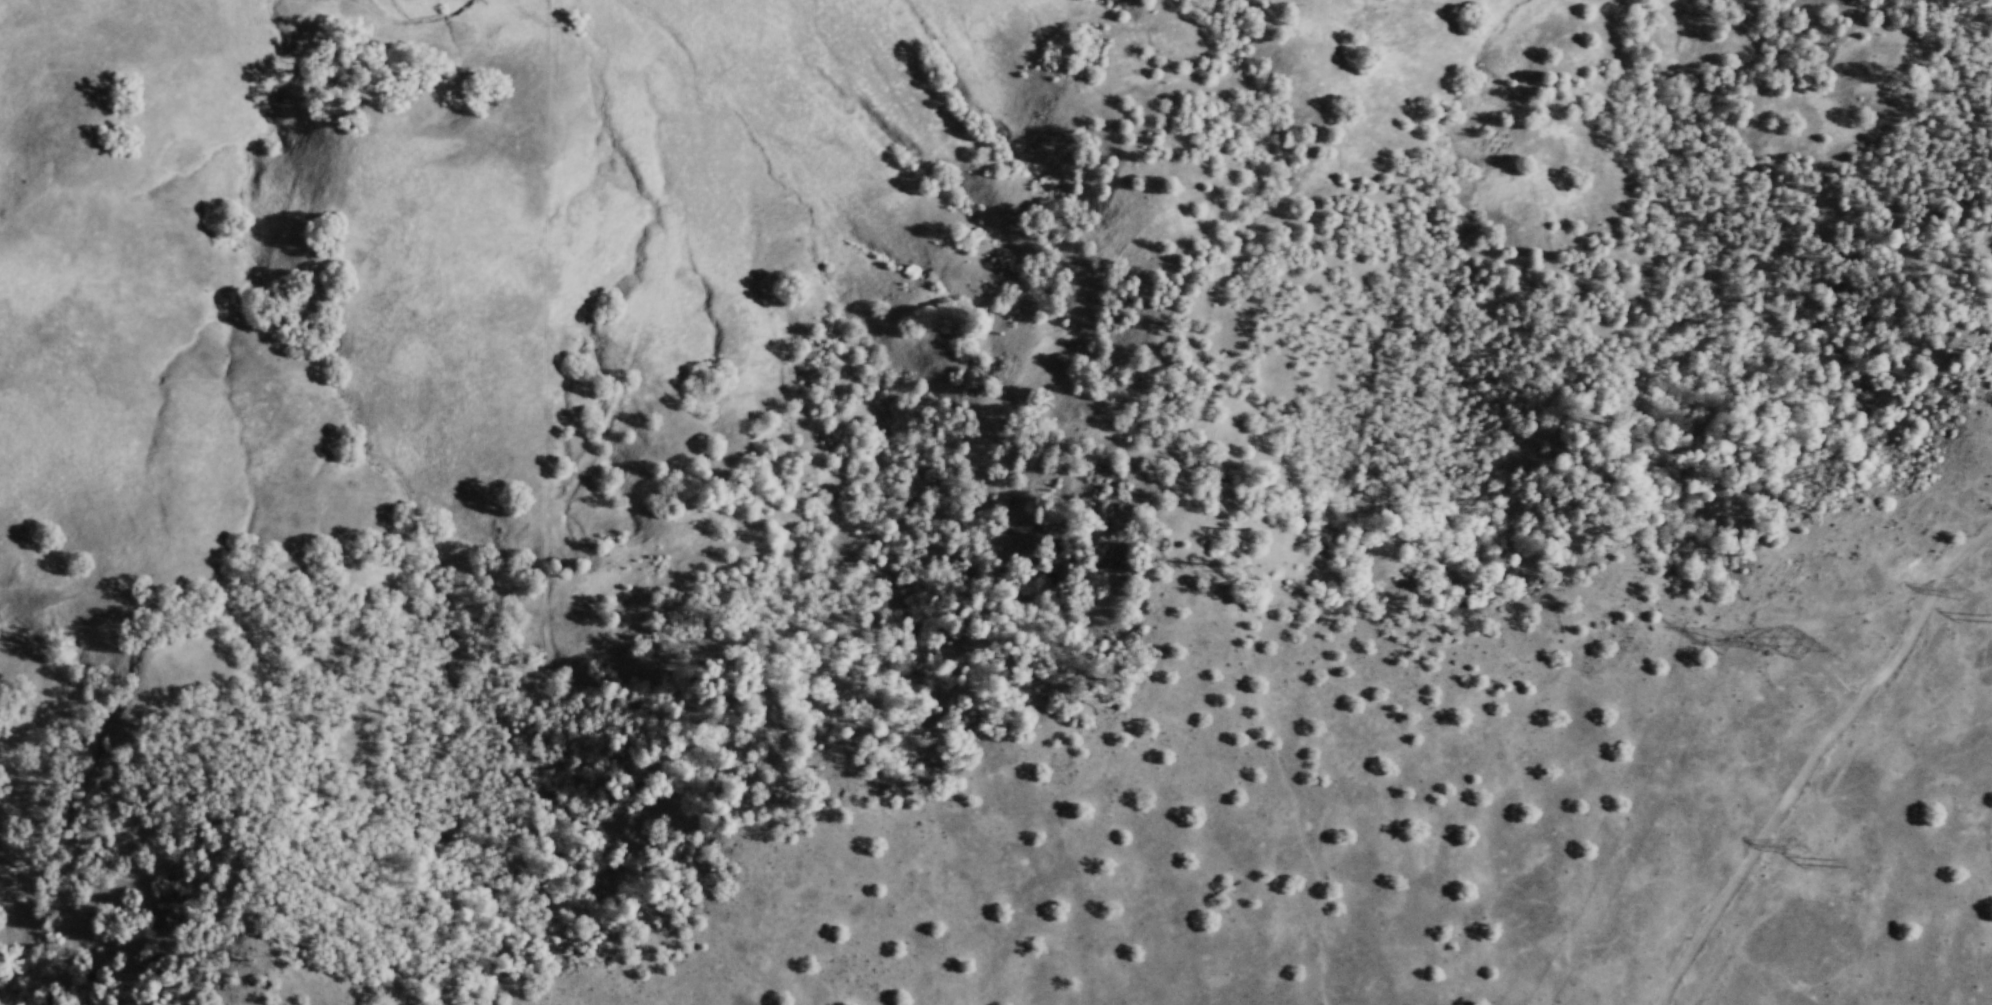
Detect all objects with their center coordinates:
power tower: (1964, 600)
power tower: (1801, 653)
road: (1812, 755)
power tower: (1788, 844)
power tower: (1831, 860)

